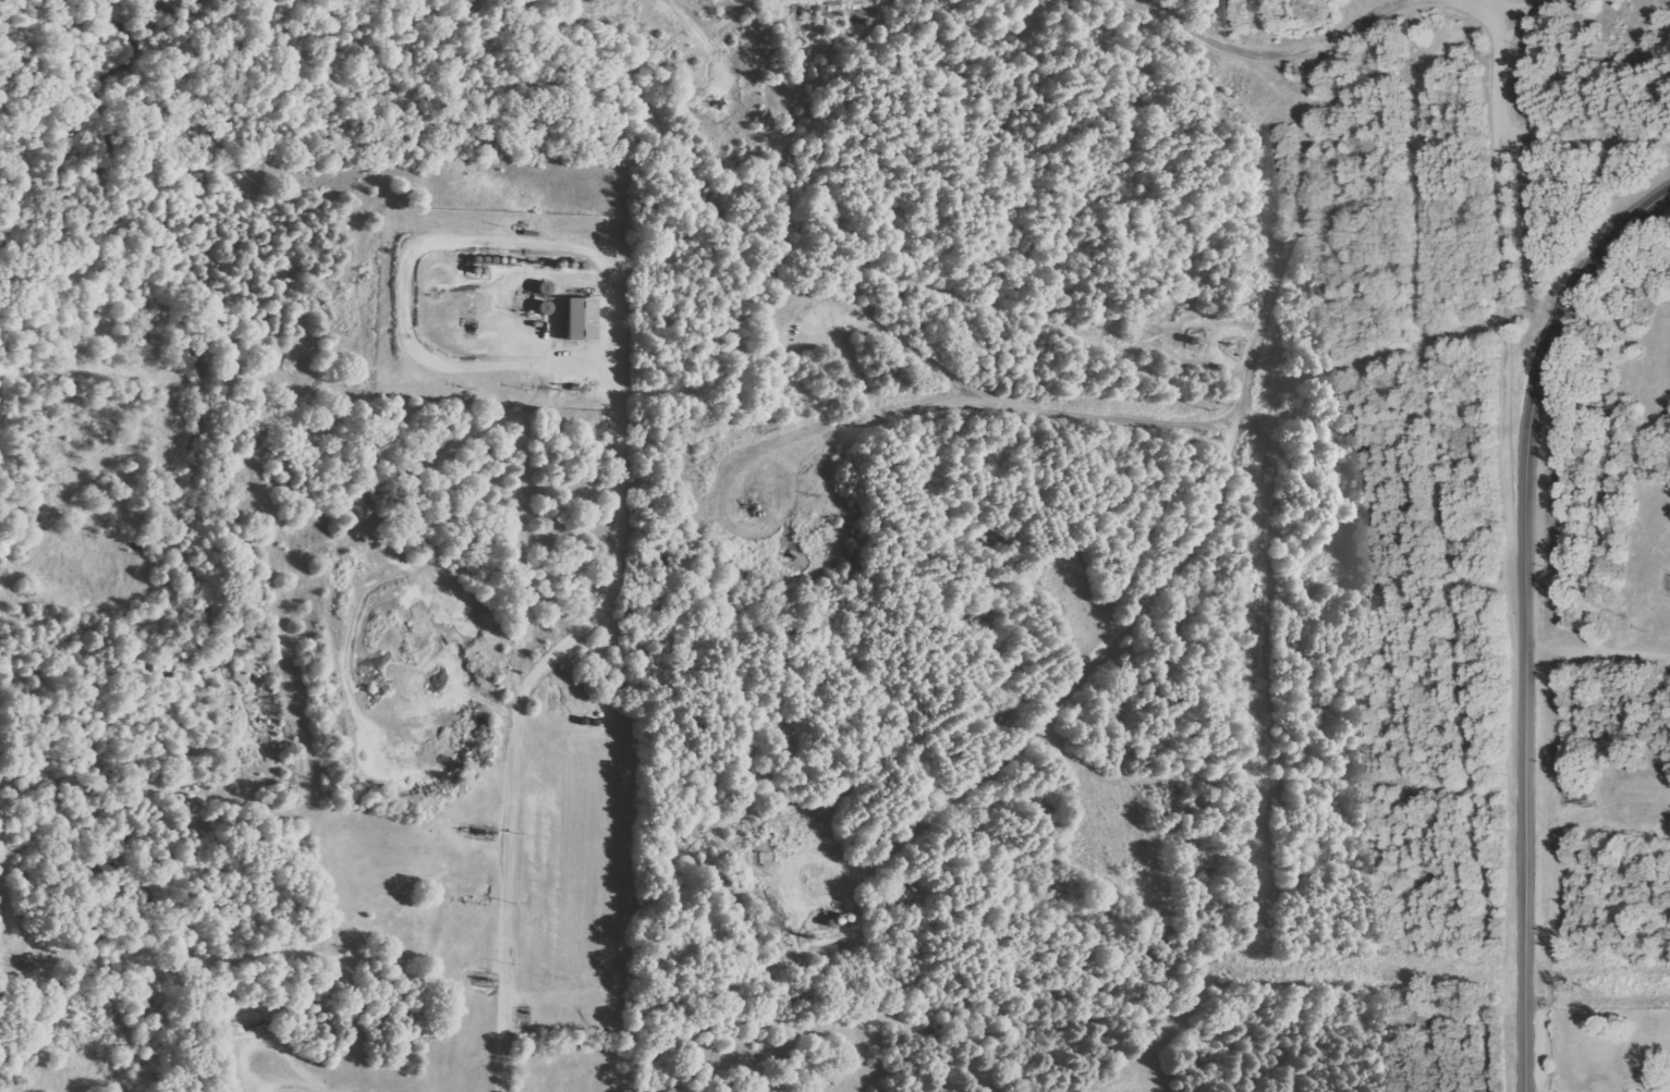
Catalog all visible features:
road: (1220, 41)
road: (1584, 143)
road: (1501, 212)
road: (1636, 257)
building: (575, 320)
road: (1208, 515)
road: (623, 530)
road: (1524, 616)
road: (1597, 650)
road: (431, 691)
road: (3, 855)
road: (507, 901)
road: (14, 950)
road: (1592, 1014)

